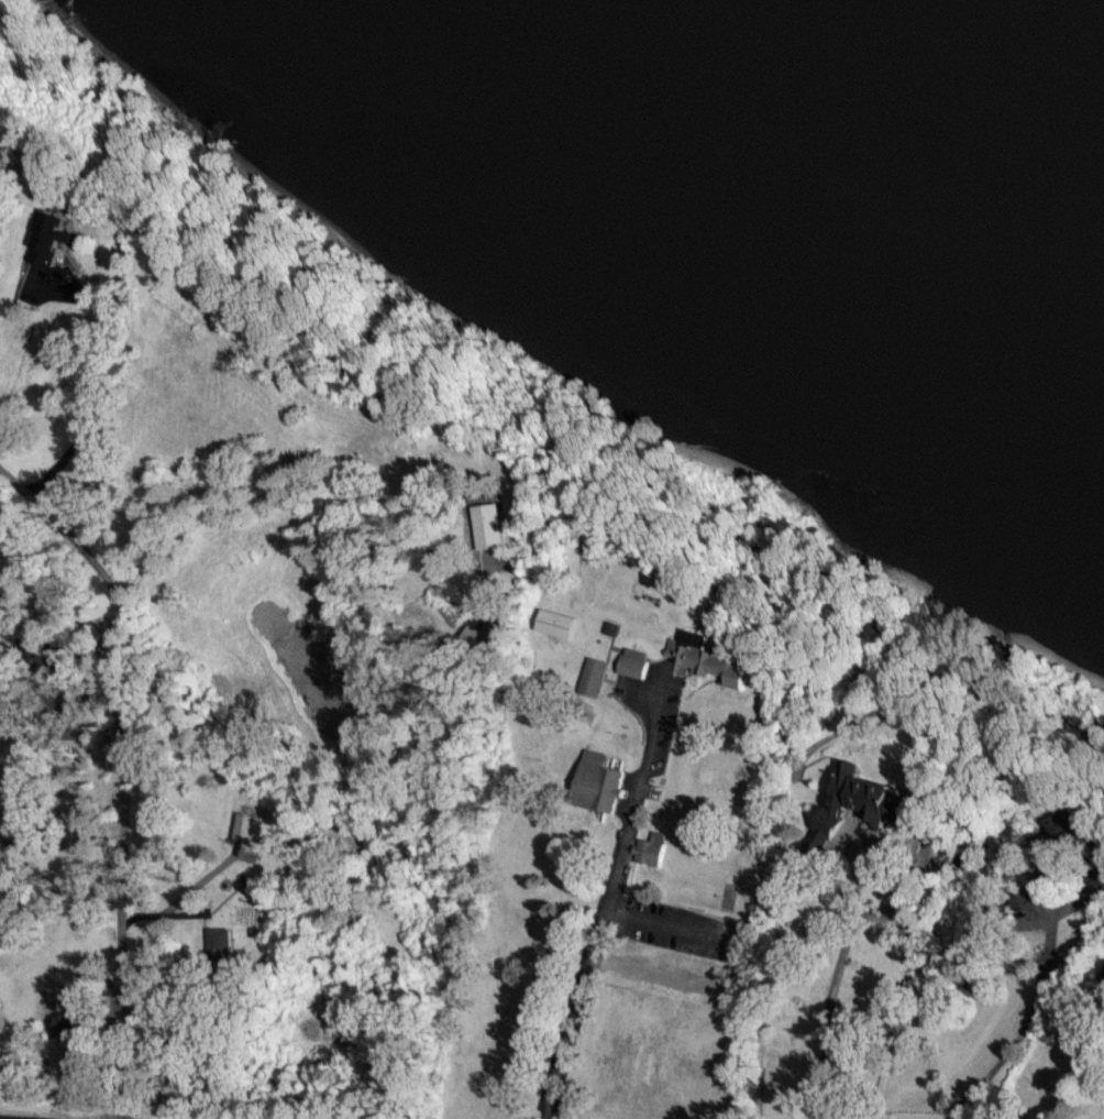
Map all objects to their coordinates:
river: (1033, 46)
building: (48, 238)
building: (121, 262)
road: (93, 391)
road: (283, 482)
building: (489, 525)
building: (556, 623)
building: (487, 625)
building: (707, 658)
building: (633, 661)
building: (593, 676)
road: (122, 770)
building: (597, 781)
building: (855, 804)
building: (249, 826)
building: (1083, 845)
building: (650, 848)
road: (603, 902)
road: (665, 921)
building: (218, 943)
road: (829, 986)
road: (1027, 1022)
road: (1078, 1084)
road: (3, 1118)

